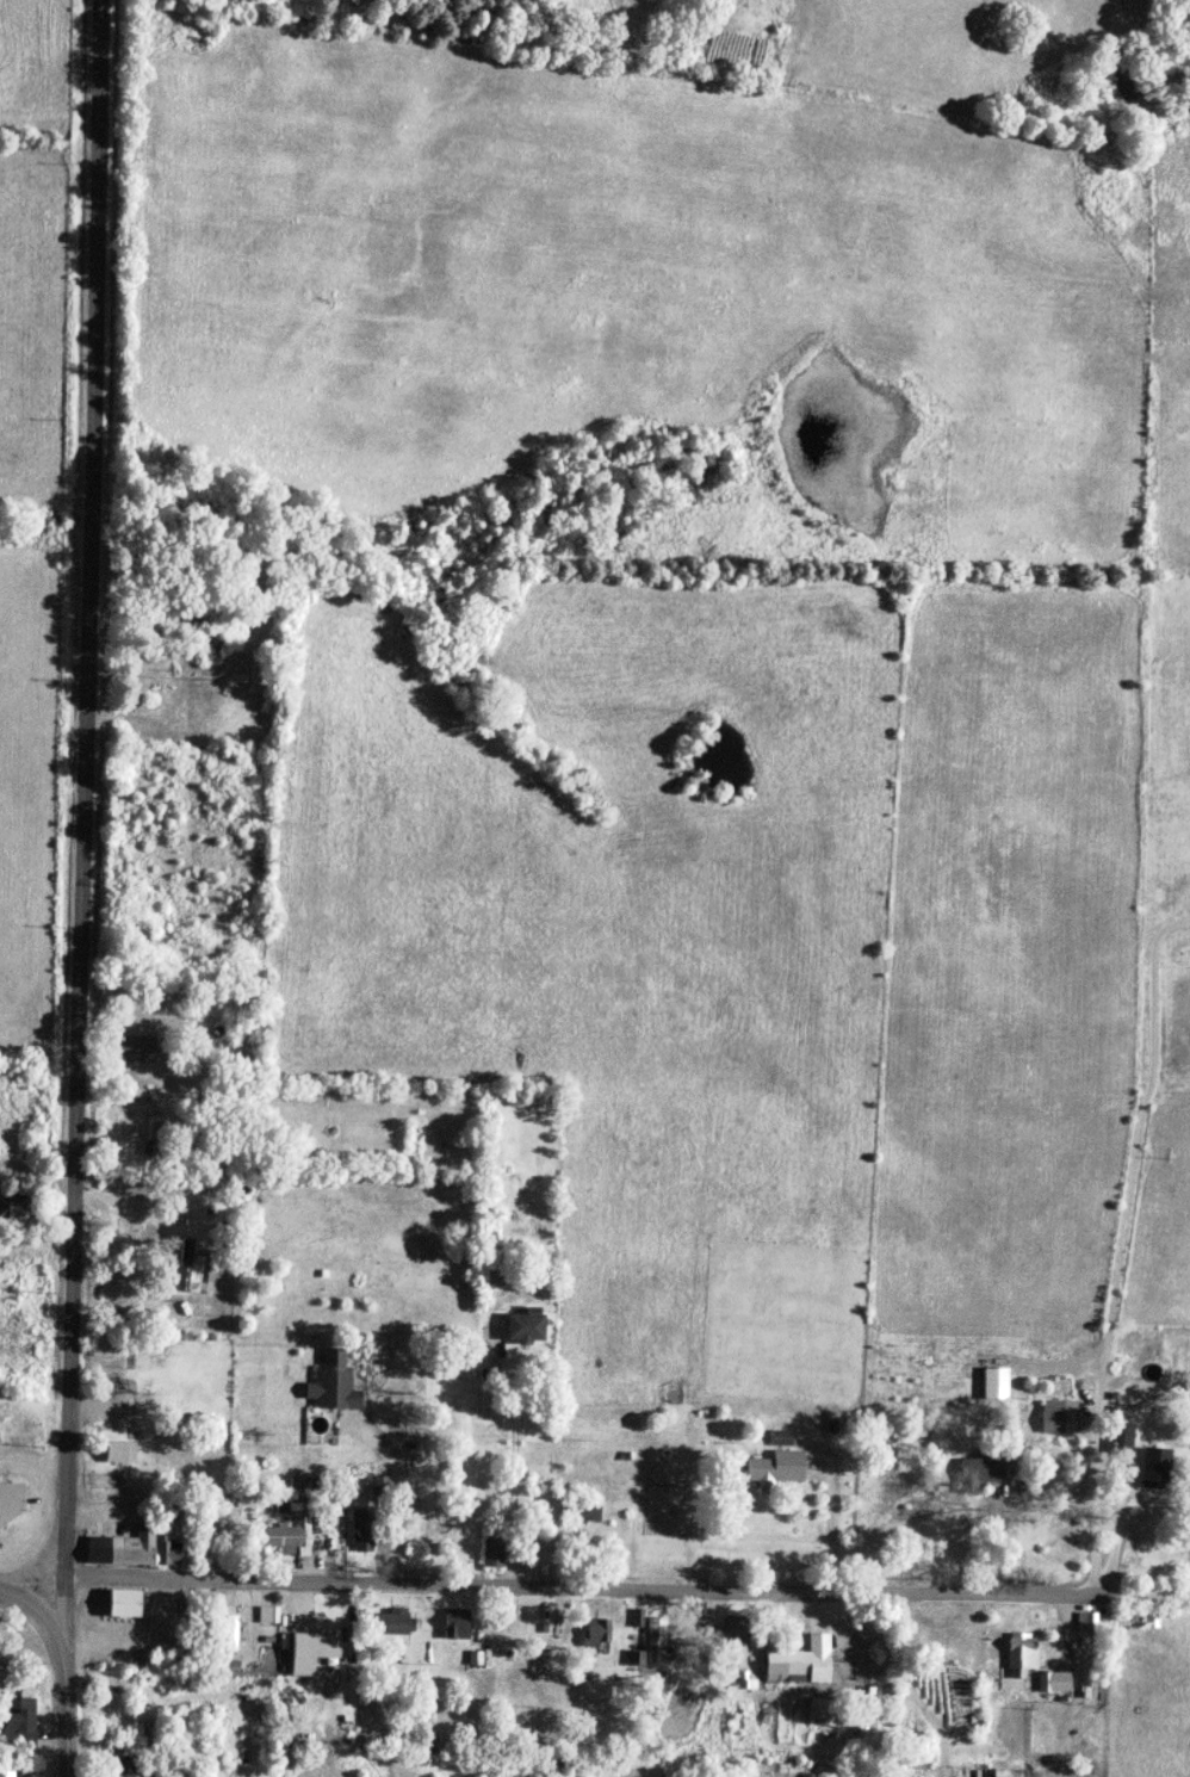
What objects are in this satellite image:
road: (78, 798)
building: (136, 1048)
road: (1120, 1250)
building: (526, 1326)
building: (333, 1383)
building: (996, 1383)
building: (1058, 1417)
building: (1121, 1437)
building: (782, 1438)
building: (119, 1451)
building: (777, 1467)
building: (984, 1468)
building: (1153, 1468)
road: (513, 1470)
building: (11, 1502)
road: (397, 1502)
road: (1000, 1511)
building: (583, 1512)
road: (833, 1525)
building: (361, 1536)
building: (290, 1537)
building: (123, 1548)
building: (168, 1552)
building: (494, 1554)
road: (624, 1598)
building: (124, 1603)
building: (268, 1615)
building: (638, 1618)
building: (395, 1622)
building: (1085, 1622)
building: (455, 1623)
building: (228, 1633)
building: (594, 1633)
building: (655, 1640)
building: (311, 1652)
building: (1021, 1654)
road: (56, 1657)
building: (801, 1663)
building: (1054, 1682)
building: (745, 1684)
building: (822, 1713)
building: (18, 1722)
building: (120, 1769)
building: (6, 1772)
building: (1011, 1773)

